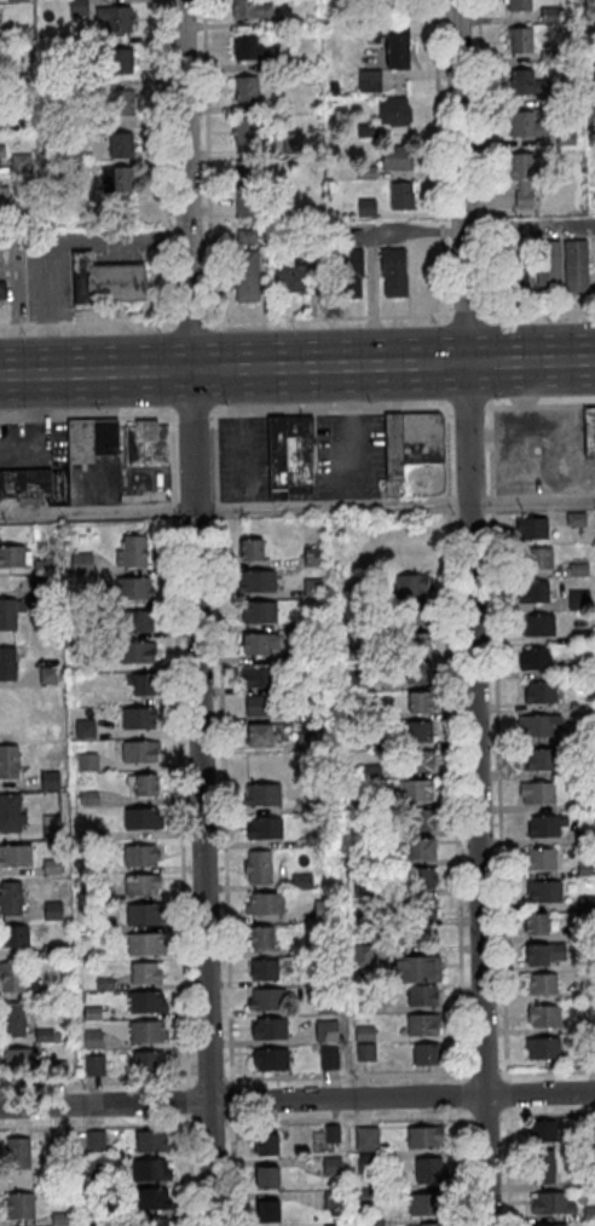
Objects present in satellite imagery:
building: (16, 0)
building: (519, 6)
building: (77, 7)
building: (250, 8)
building: (549, 16)
building: (115, 18)
building: (289, 22)
building: (17, 35)
building: (520, 40)
building: (392, 42)
building: (75, 44)
building: (249, 47)
building: (549, 58)
building: (120, 61)
building: (290, 64)
building: (591, 73)
building: (19, 81)
building: (369, 81)
building: (526, 84)
building: (85, 85)
building: (245, 88)
building: (562, 99)
building: (121, 102)
building: (394, 111)
building: (593, 117)
building: (18, 120)
building: (86, 126)
building: (525, 126)
building: (366, 131)
building: (248, 132)
building: (565, 139)
building: (291, 143)
building: (121, 145)
building: (0, 149)
building: (2, 151)
building: (397, 157)
road: (438, 160)
road: (481, 160)
road: (207, 162)
building: (21, 163)
road: (163, 163)
building: (247, 172)
building: (365, 172)
building: (53, 174)
building: (117, 179)
building: (524, 179)
building: (1, 191)
building: (402, 195)
building: (247, 202)
building: (366, 207)
building: (308, 211)
building: (17, 214)
building: (245, 236)
building: (317, 260)
building: (574, 265)
building: (548, 266)
building: (515, 267)
building: (393, 271)
building: (350, 272)
building: (245, 275)
building: (288, 280)
building: (104, 281)
building: (2, 290)
road: (537, 311)
road: (464, 313)
road: (327, 316)
street lamp: (556, 318)
road: (190, 320)
road: (87, 322)
street lamp: (435, 322)
road: (486, 361)
road: (443, 362)
road: (212, 367)
road: (296, 367)
road: (169, 368)
street lamp: (497, 396)
road: (564, 404)
road: (467, 405)
road: (498, 405)
road: (522, 405)
road: (404, 408)
road: (348, 409)
road: (293, 411)
road: (489, 411)
road: (191, 413)
road: (220, 413)
road: (241, 413)
road: (86, 415)
road: (242, 433)
building: (589, 433)
road: (348, 436)
road: (490, 436)
building: (105, 437)
building: (421, 438)
building: (80, 442)
building: (145, 443)
building: (393, 447)
road: (446, 449)
road: (214, 454)
parking lot: (350, 454)
road: (171, 455)
building: (290, 456)
parking lot: (244, 457)
road: (490, 471)
road: (156, 474)
building: (24, 483)
road: (141, 494)
road: (447, 502)
road: (491, 502)
road: (216, 508)
road: (297, 508)
road: (173, 511)
building: (576, 519)
building: (532, 528)
building: (252, 549)
building: (133, 551)
building: (13, 557)
building: (312, 558)
building: (536, 558)
building: (81, 565)
building: (42, 566)
building: (578, 570)
building: (256, 582)
building: (409, 585)
building: (133, 588)
building: (312, 588)
building: (42, 589)
building: (532, 592)
building: (358, 595)
building: (578, 602)
building: (21, 606)
road: (195, 612)
building: (258, 612)
road: (470, 612)
building: (7, 615)
building: (406, 615)
building: (135, 622)
building: (313, 622)
building: (537, 624)
building: (579, 638)
building: (259, 643)
building: (417, 643)
building: (93, 647)
building: (135, 652)
building: (359, 655)
building: (536, 660)
building: (7, 663)
building: (85, 663)
building: (579, 670)
building: (417, 672)
building: (47, 675)
building: (259, 675)
building: (128, 680)
building: (356, 681)
building: (143, 684)
building: (541, 692)
building: (418, 701)
building: (7, 704)
building: (262, 707)
building: (573, 707)
building: (370, 713)
building: (319, 715)
building: (47, 718)
building: (138, 719)
building: (537, 726)
building: (86, 730)
building: (417, 732)
building: (259, 735)
building: (314, 741)
building: (139, 752)
building: (544, 760)
building: (417, 761)
building: (8, 762)
building: (87, 762)
building: (584, 770)
building: (370, 771)
building: (50, 781)
building: (145, 784)
building: (416, 792)
building: (537, 793)
road: (498, 794)
building: (262, 795)
building: (87, 799)
road: (224, 800)
road: (180, 802)
building: (360, 802)
building: (583, 802)
building: (314, 807)
road: (455, 810)
building: (10, 813)
building: (141, 819)
building: (416, 821)
building: (545, 827)
building: (264, 829)
building: (51, 833)
building: (99, 838)
building: (584, 838)
building: (314, 841)
building: (418, 850)
building: (16, 856)
building: (140, 856)
building: (541, 859)
building: (364, 860)
building: (98, 867)
building: (51, 868)
building: (258, 868)
building: (587, 870)
building: (348, 874)
building: (420, 879)
building: (301, 882)
building: (141, 885)
building: (363, 890)
building: (543, 891)
building: (99, 897)
building: (11, 899)
building: (587, 903)
building: (265, 905)
building: (423, 908)
building: (53, 911)
building: (323, 911)
building: (143, 915)
building: (364, 920)
building: (536, 923)
building: (99, 926)
building: (585, 932)
building: (15, 936)
building: (260, 937)
building: (144, 944)
building: (324, 949)
building: (52, 952)
building: (544, 955)
building: (362, 956)
building: (417, 969)
building: (264, 971)
building: (144, 974)
building: (12, 977)
building: (541, 984)
building: (104, 985)
building: (40, 992)
building: (588, 992)
building: (421, 996)
building: (266, 1000)
building: (146, 1003)
building: (363, 1003)
building: (325, 1006)
building: (92, 1014)
building: (544, 1017)
building: (12, 1020)
building: (422, 1025)
building: (268, 1030)
building: (146, 1032)
building: (325, 1032)
building: (364, 1035)
building: (45, 1036)
building: (93, 1041)
building: (543, 1048)
building: (365, 1053)
building: (423, 1054)
building: (589, 1058)
building: (16, 1060)
building: (270, 1060)
building: (329, 1060)
building: (149, 1061)
building: (94, 1066)
building: (63, 1070)
road: (547, 1070)
road: (362, 1075)
road: (208, 1078)
road: (96, 1081)
road: (506, 1093)
road: (231, 1099)
road: (296, 1099)
road: (187, 1100)
road: (296, 1119)
building: (588, 1130)
building: (543, 1132)
building: (331, 1134)
building: (424, 1138)
building: (366, 1139)
building: (96, 1140)
building: (151, 1141)
building: (266, 1145)
building: (18, 1153)
building: (368, 1163)
building: (331, 1167)
road: (464, 1167)
road: (508, 1167)
building: (542, 1167)
building: (151, 1170)
road: (189, 1170)
road: (232, 1170)
building: (428, 1170)
building: (266, 1178)
building: (368, 1196)
building: (150, 1199)
building: (333, 1201)
building: (427, 1204)
building: (551, 1204)
building: (21, 1207)
building: (267, 1211)
building: (589, 1214)
building: (60, 1220)
building: (152, 1222)
building: (374, 1224)
building: (331, 1225)
building: (431, 1225)
building: (549, 1225)

